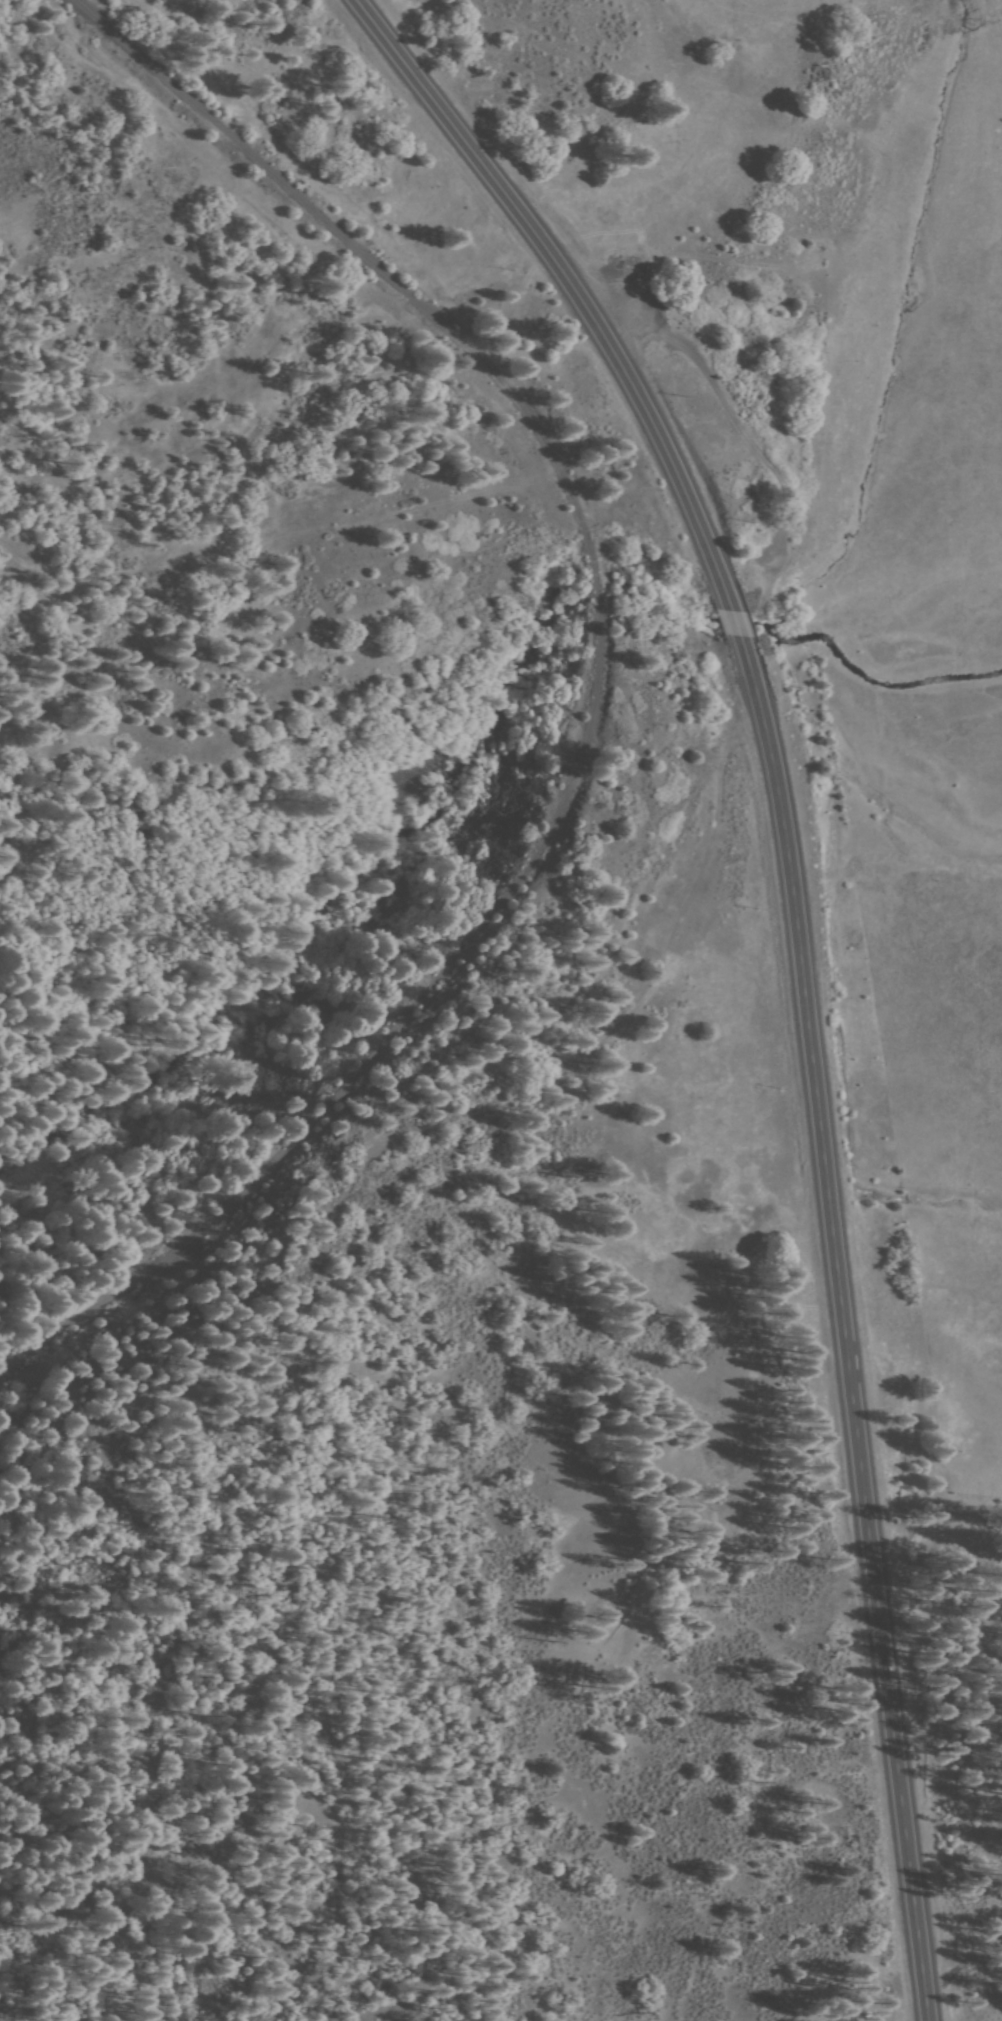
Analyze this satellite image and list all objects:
road: (569, 289)
road: (739, 620)
road: (911, 1194)
road: (839, 1327)

